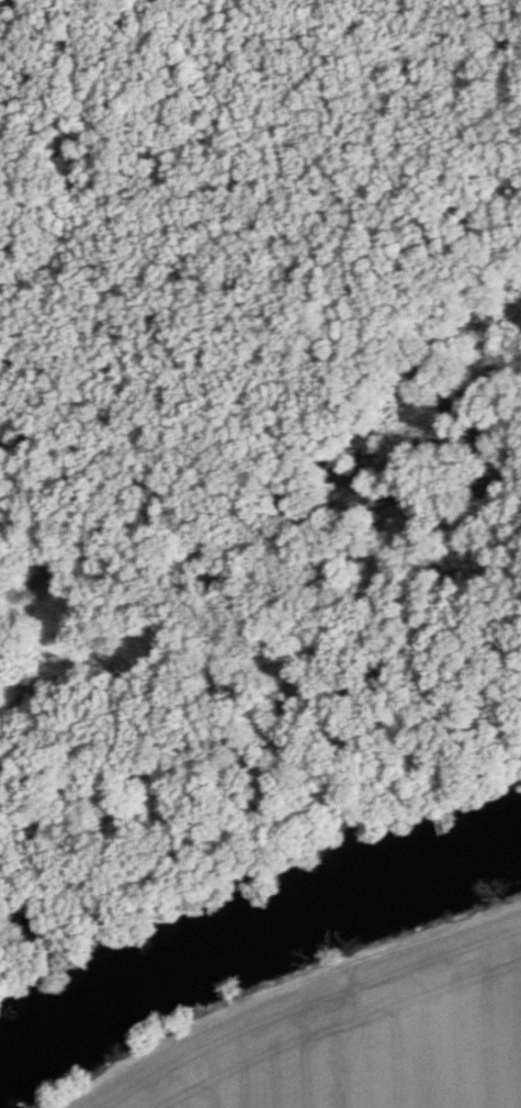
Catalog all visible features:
river: (259, 932)

